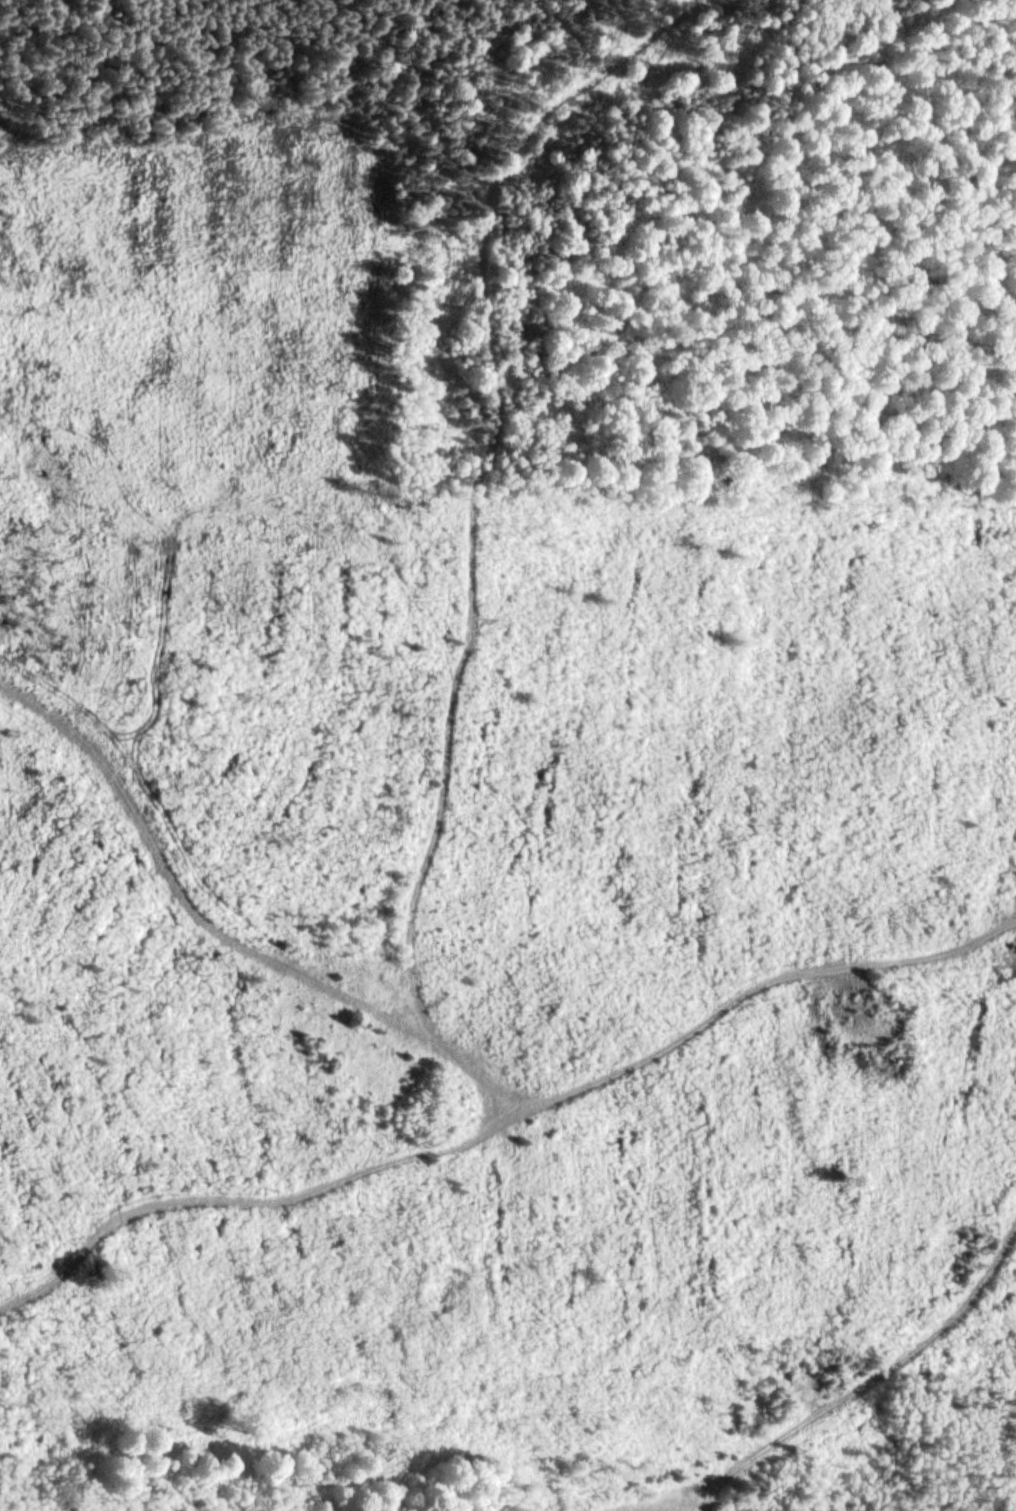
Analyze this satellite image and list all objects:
road: (516, 1131)

